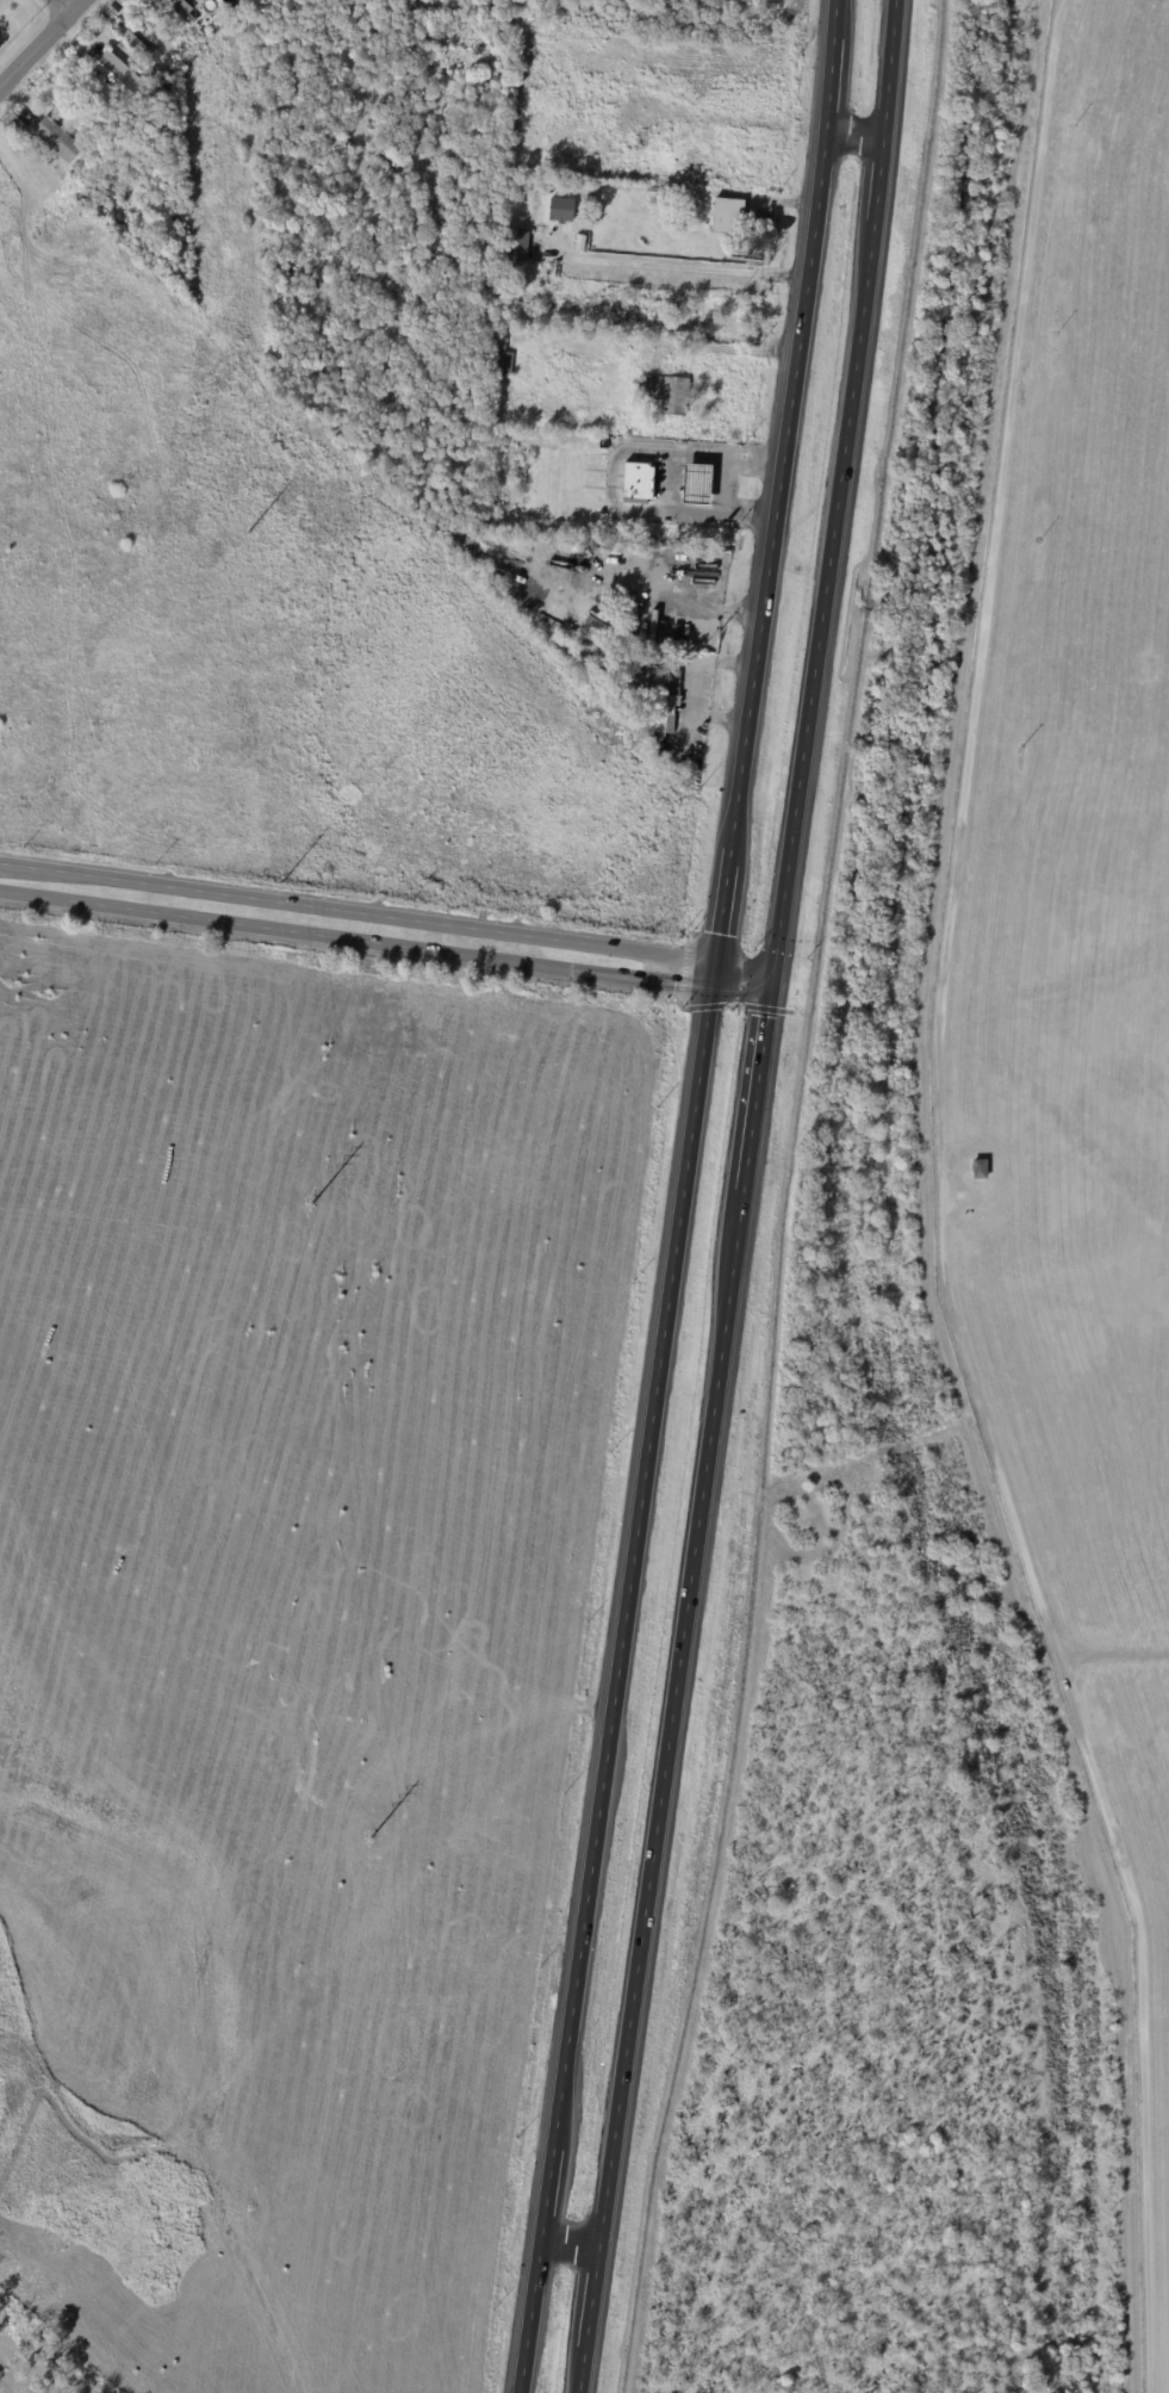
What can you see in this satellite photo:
building: (167, 0)
road: (54, 4)
building: (186, 10)
building: (112, 14)
building: (163, 33)
road: (32, 37)
building: (133, 42)
building: (118, 74)
building: (15, 123)
road: (852, 134)
building: (55, 136)
building: (660, 191)
building: (560, 207)
building: (726, 213)
building: (579, 240)
building: (514, 243)
road: (680, 262)
building: (499, 353)
building: (664, 391)
road: (615, 473)
road: (781, 479)
building: (639, 481)
building: (696, 482)
road: (837, 498)
building: (666, 641)
building: (660, 694)
road: (356, 909)
road: (284, 930)
traffic signals: (716, 932)
road: (744, 963)
road: (638, 979)
traffic signals: (673, 984)
airport: (1076, 988)
road: (740, 992)
traffic signals: (770, 1016)
road: (759, 1091)
building: (978, 1166)
road: (616, 1675)
road: (663, 1788)
road: (571, 2242)

